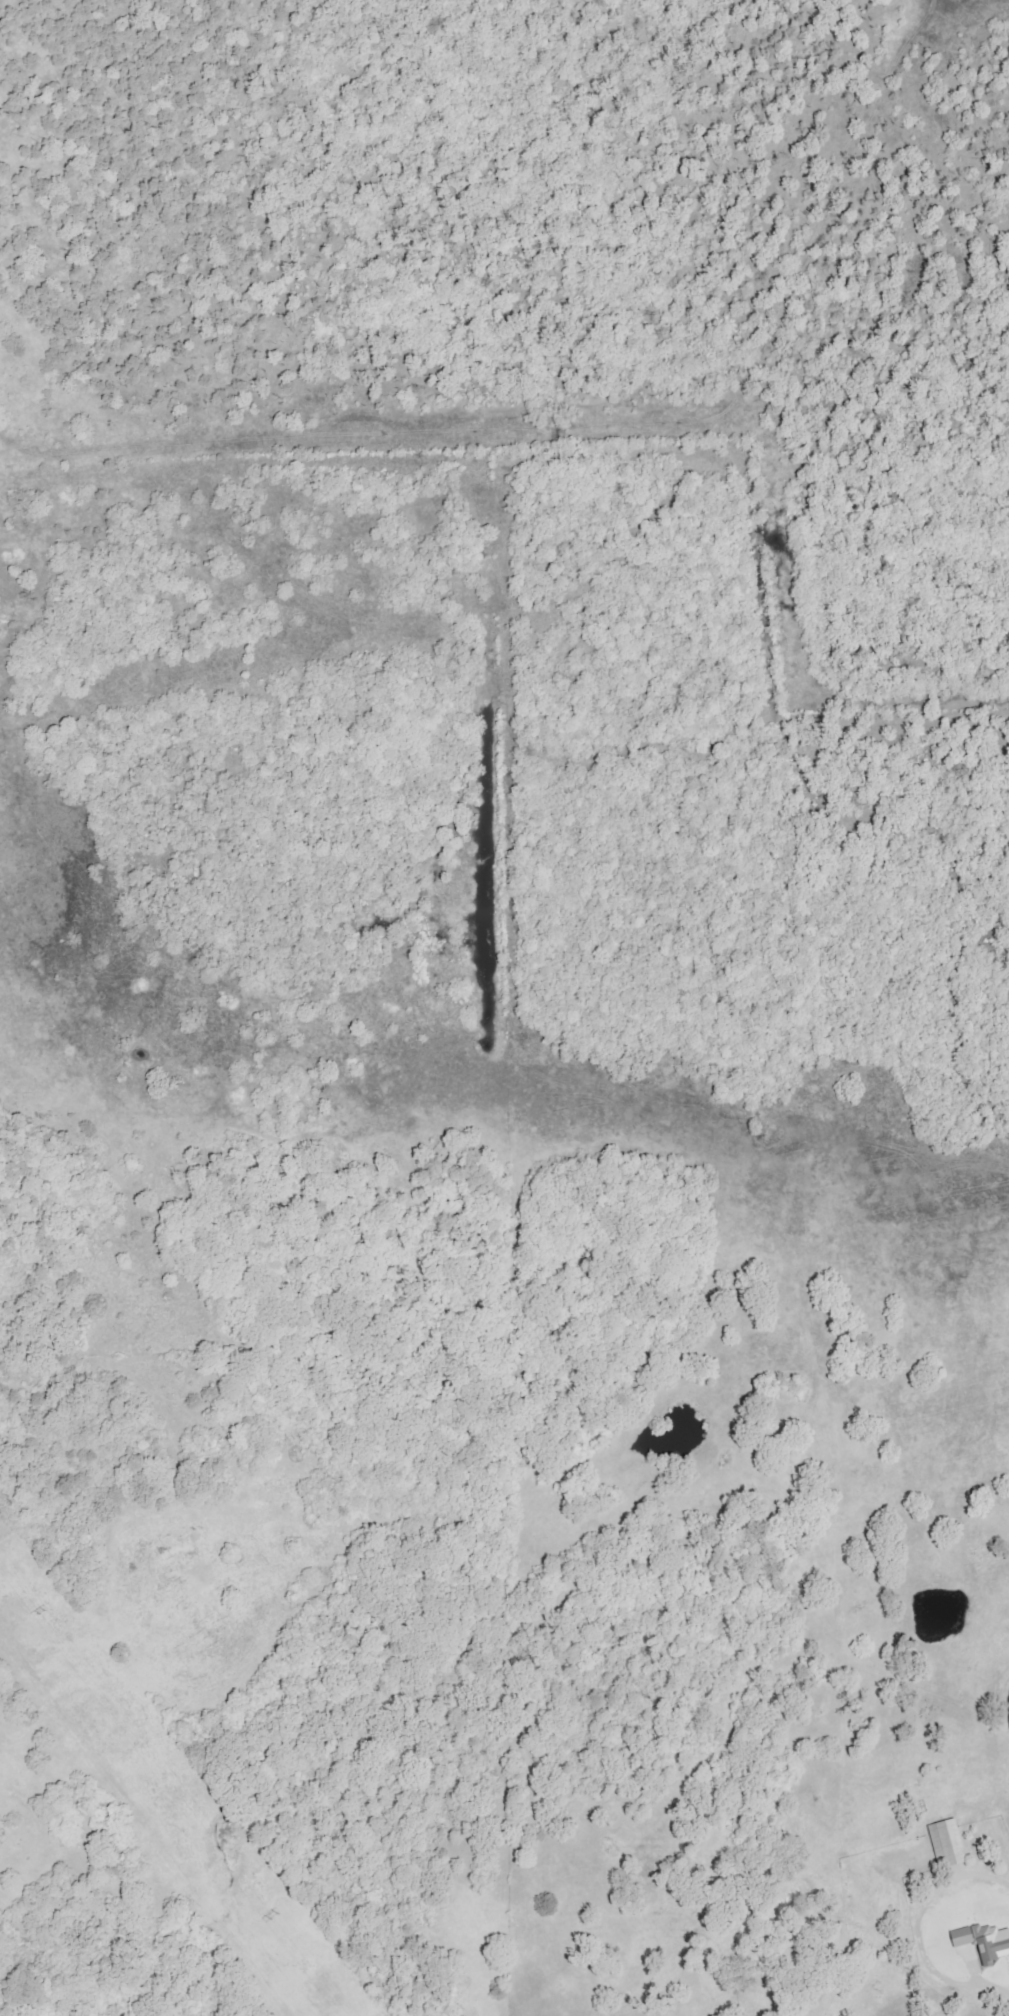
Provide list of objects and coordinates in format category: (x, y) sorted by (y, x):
power tower: (41, 1615)
building: (948, 1844)
power tower: (273, 1919)
building: (985, 1942)

